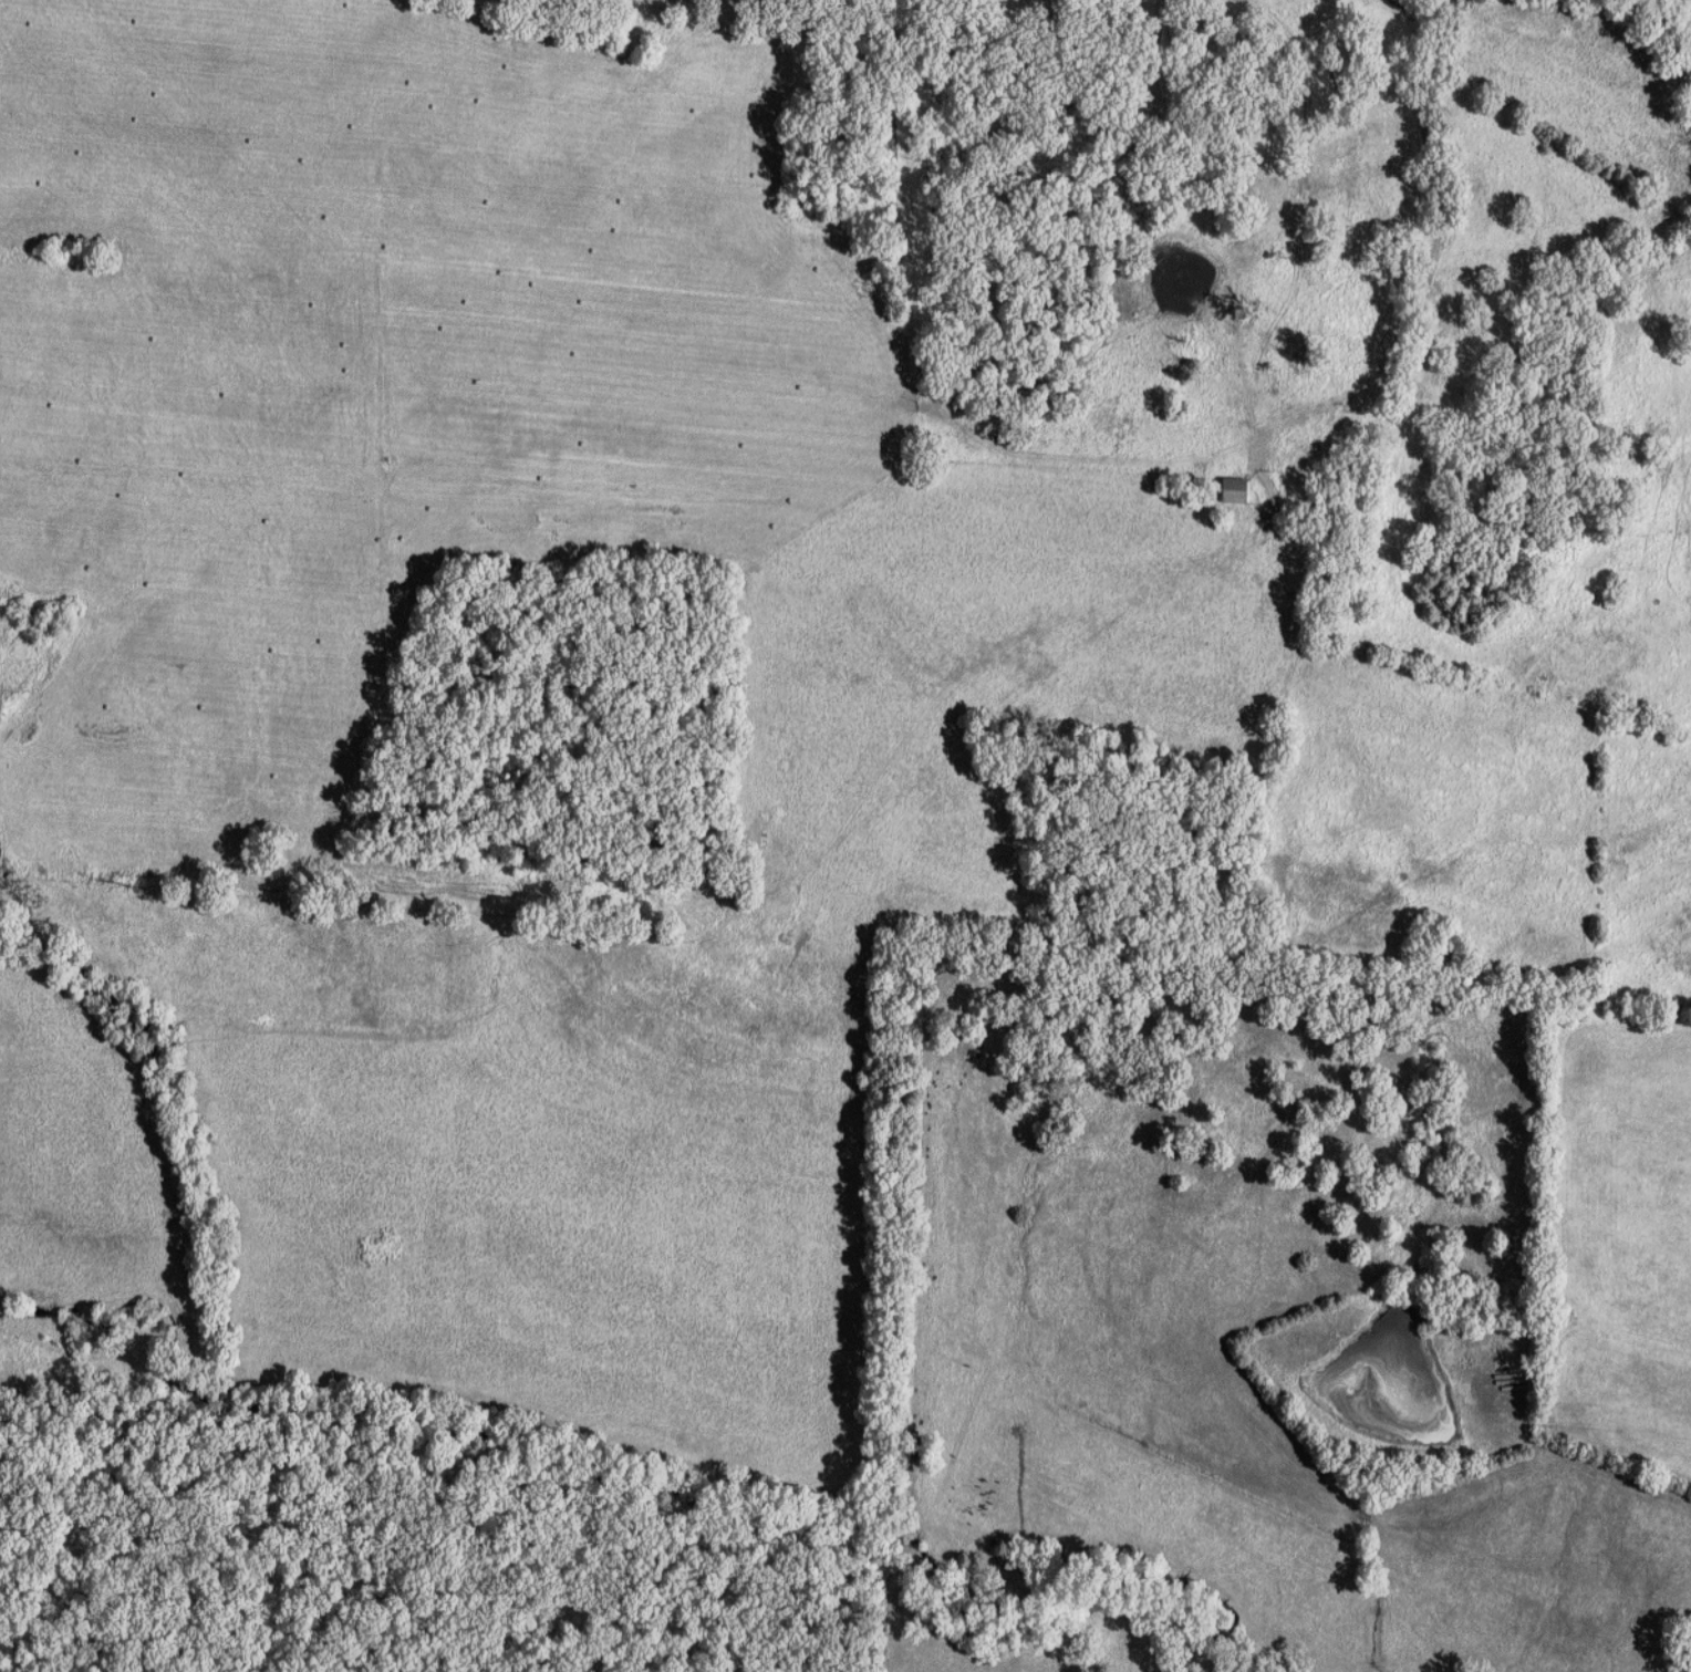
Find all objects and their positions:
building: (1241, 490)

